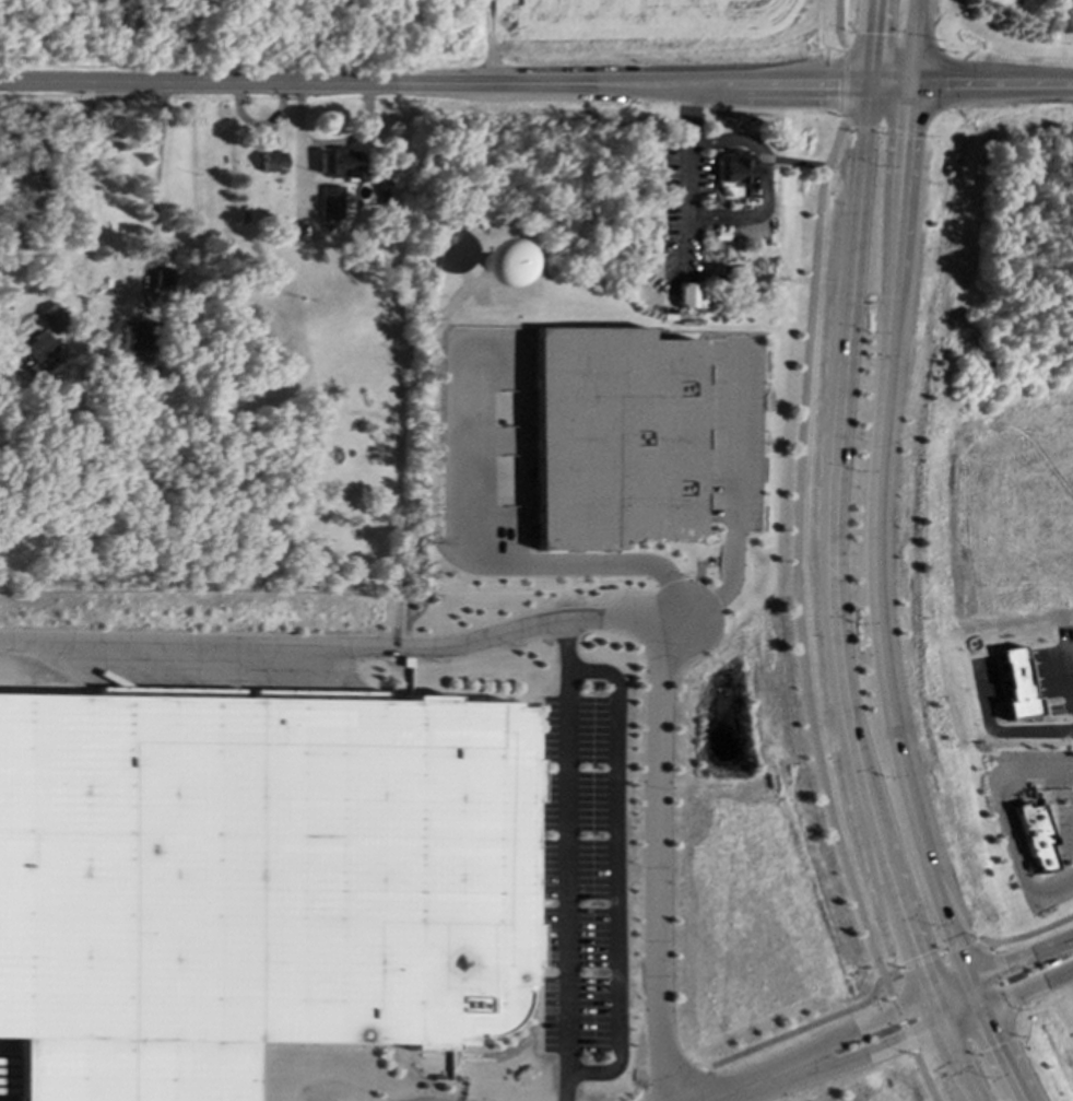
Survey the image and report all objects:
crop: (644, 21)
road: (907, 43)
road: (987, 84)
road: (451, 85)
traffic signals: (868, 86)
traffic signals: (903, 86)
road: (329, 142)
road: (692, 160)
building: (272, 162)
building: (341, 163)
road: (797, 163)
road: (158, 168)
building: (741, 173)
road: (767, 181)
building: (333, 202)
road: (86, 209)
water tower: (491, 259)
building: (494, 262)
building: (164, 280)
building: (692, 295)
building: (54, 318)
building: (139, 338)
building: (40, 352)
building: (616, 437)
road: (805, 502)
road: (738, 507)
road: (448, 511)
road: (837, 560)
road: (882, 604)
road: (334, 648)
road: (1010, 801)
road: (1007, 830)
building: (1038, 835)
road: (661, 840)
road: (567, 857)
road: (620, 876)
building: (255, 880)
road: (1027, 934)
road: (939, 953)
road: (1002, 975)
traffic signals: (966, 980)
road: (931, 994)
traffic signals: (929, 995)
traffic signals: (979, 1009)
road: (938, 1023)
traffic signals: (940, 1023)
road: (899, 1024)
road: (786, 1033)
road: (922, 1076)
road: (757, 1082)

